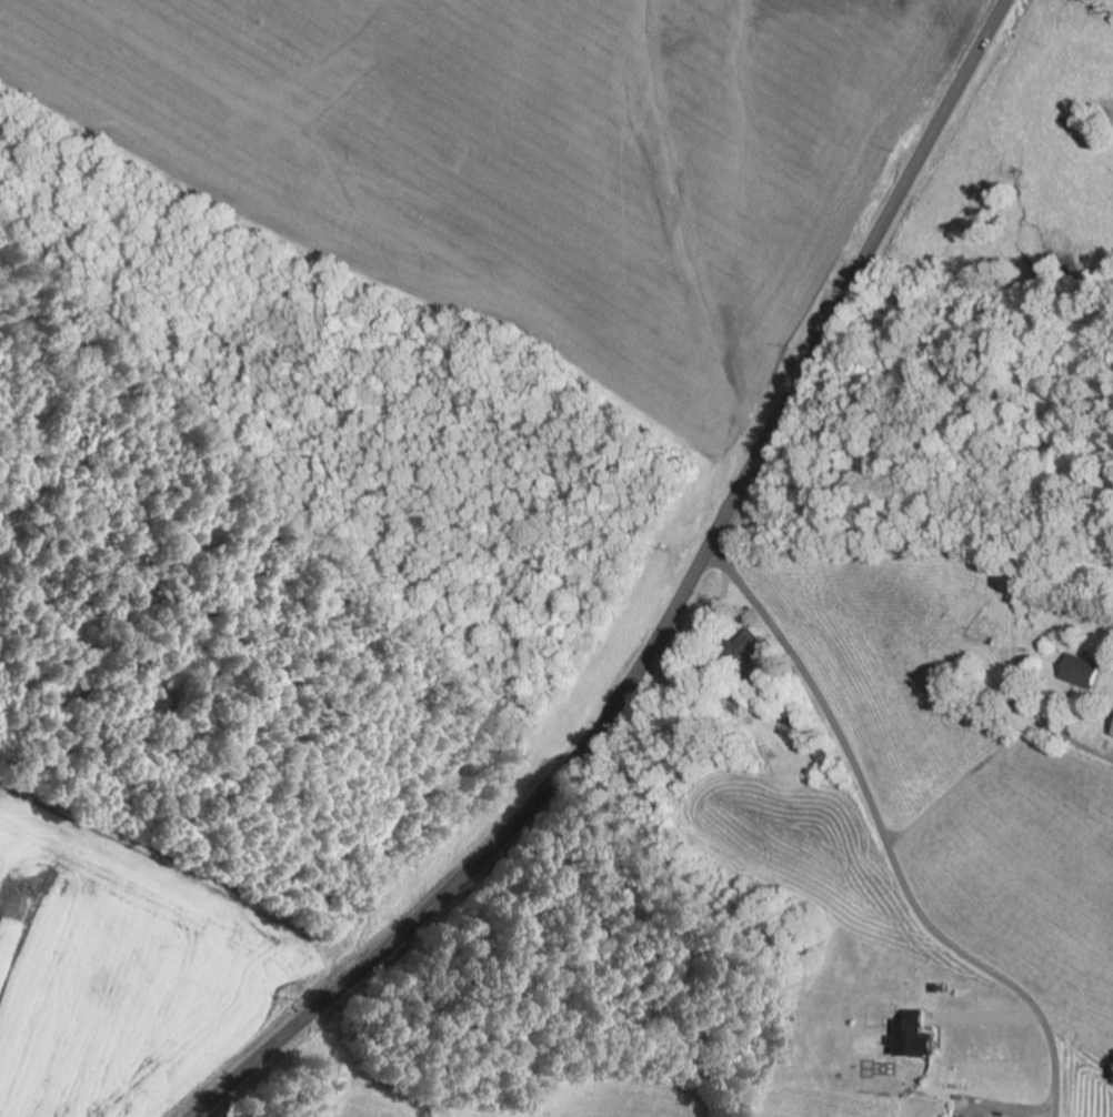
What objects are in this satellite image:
road: (672, 612)
building: (746, 645)
building: (1083, 672)
road: (886, 838)
building: (913, 1037)

